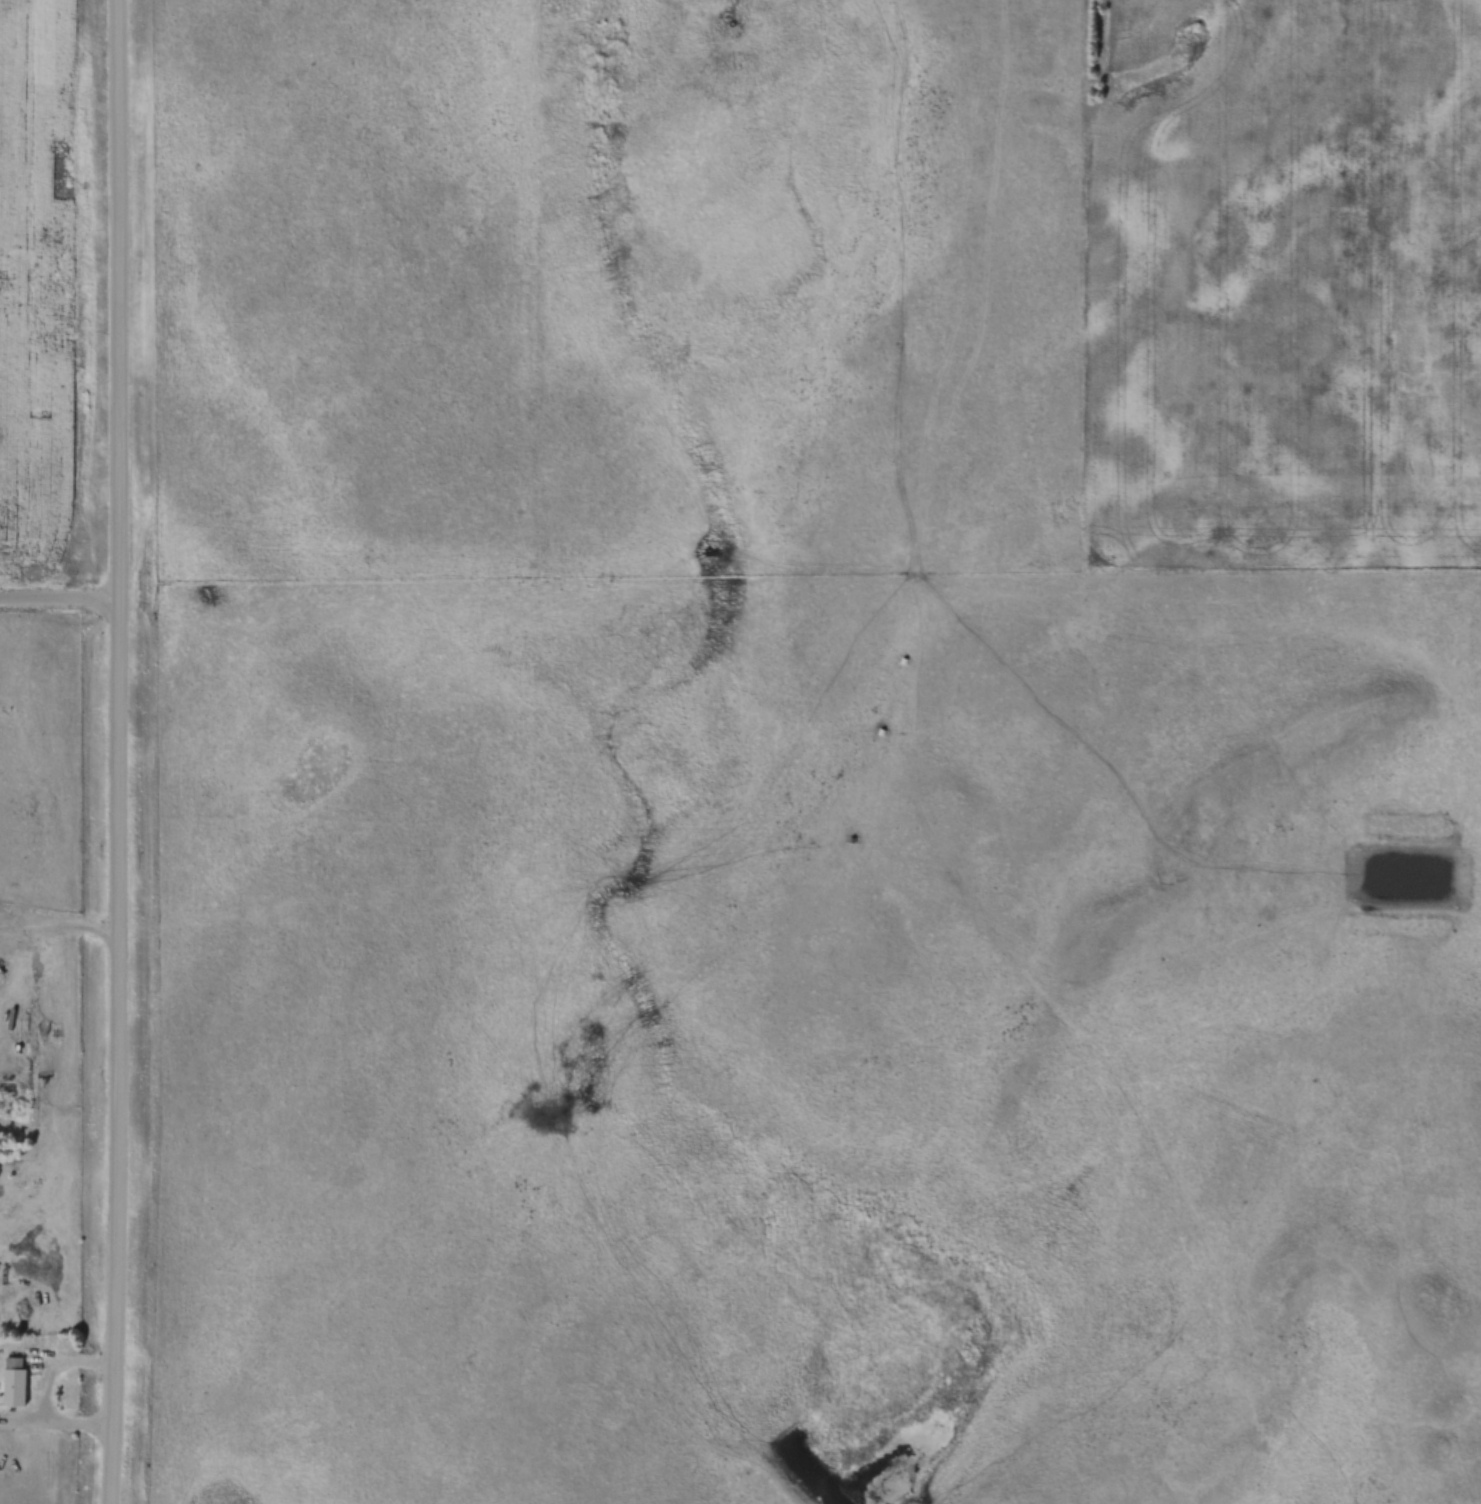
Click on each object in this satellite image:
road: (61, 603)
road: (121, 752)
road: (59, 1365)
building: (15, 1382)
road: (58, 1421)

